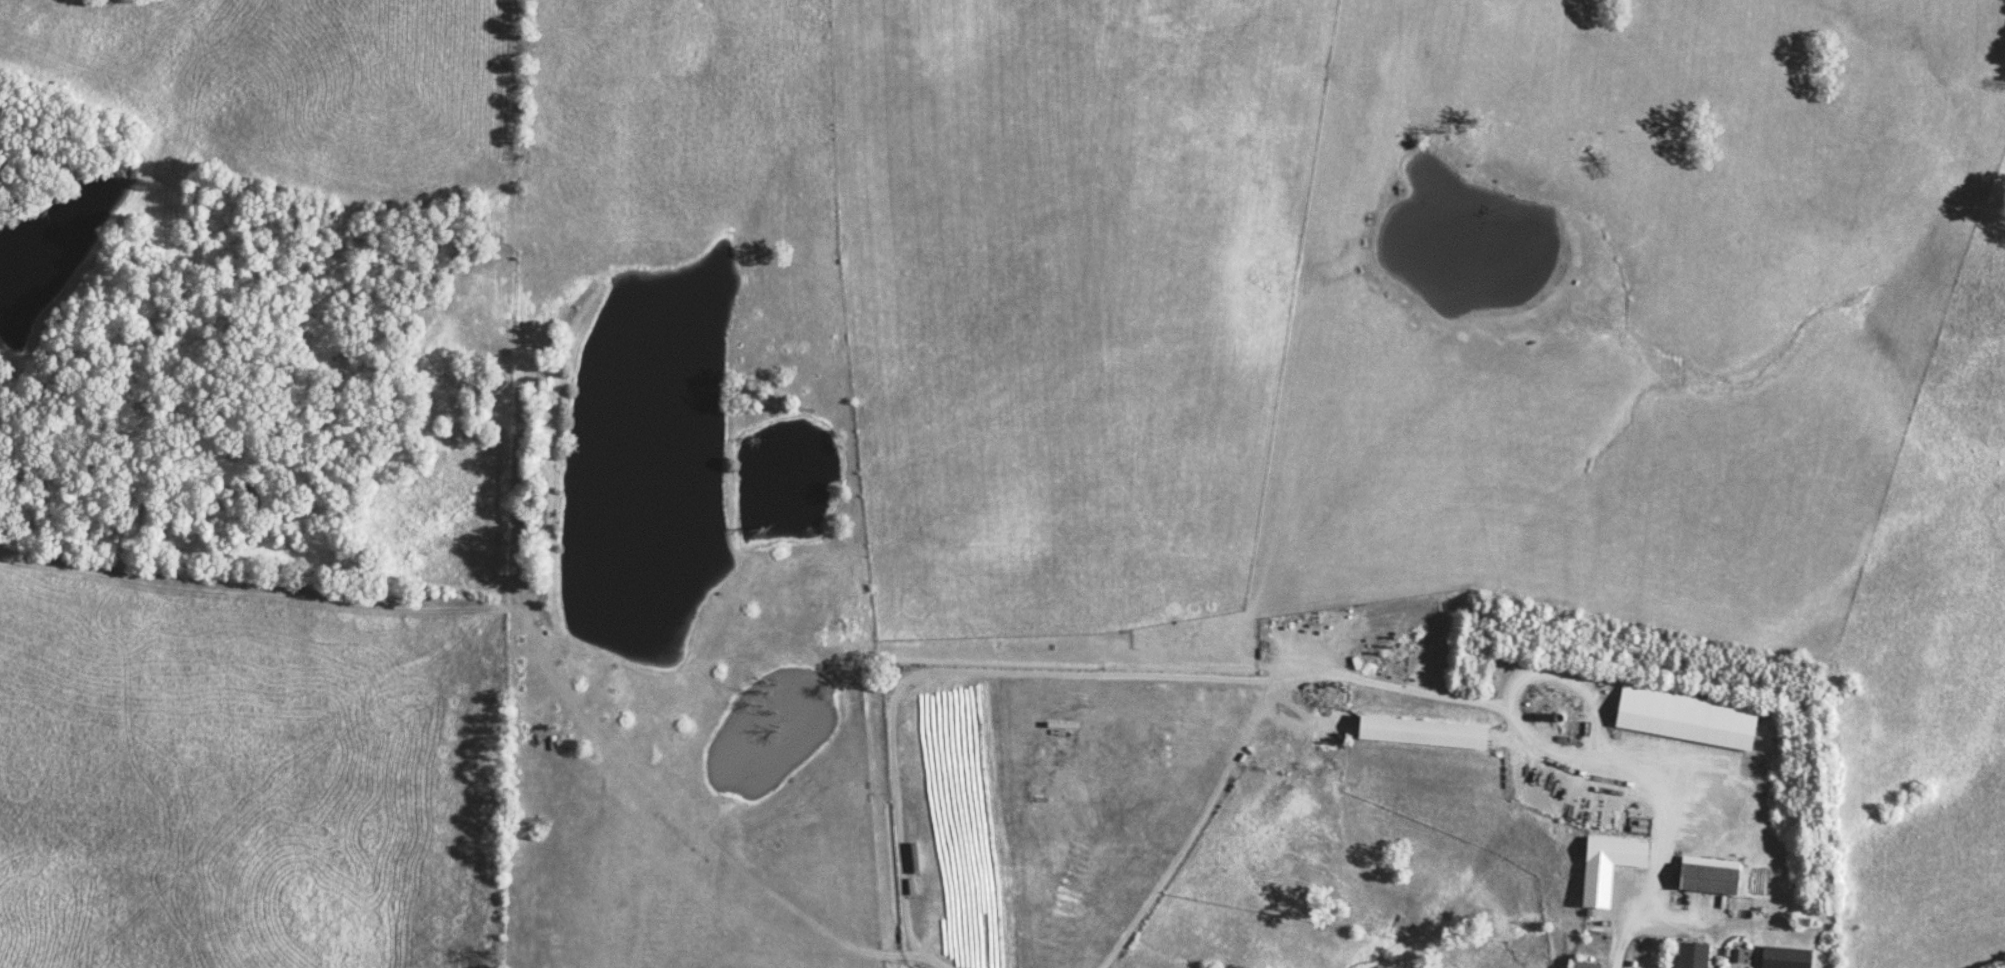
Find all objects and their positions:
building: (1684, 719)
building: (1419, 733)
building: (1615, 852)
building: (1707, 876)
building: (1690, 955)
building: (1784, 958)
building: (1578, 964)

